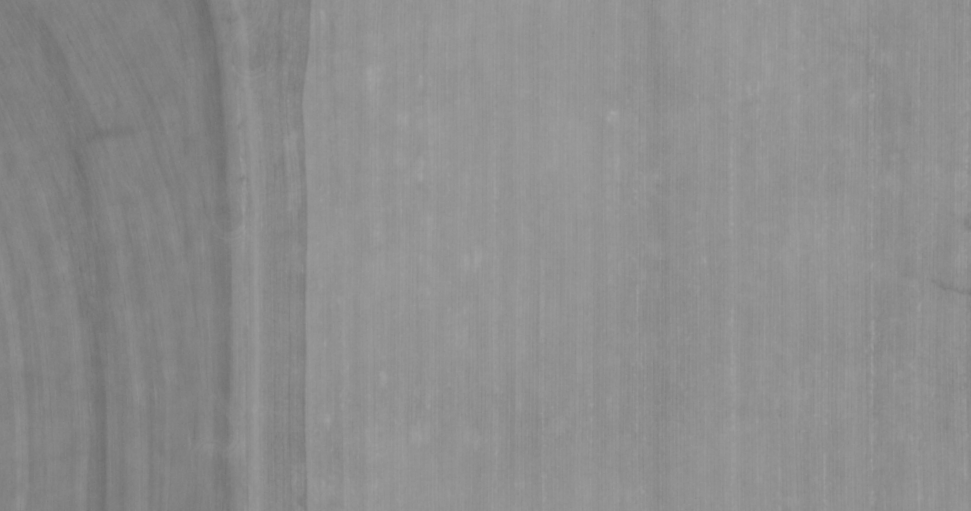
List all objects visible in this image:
crop: (485, 255)

